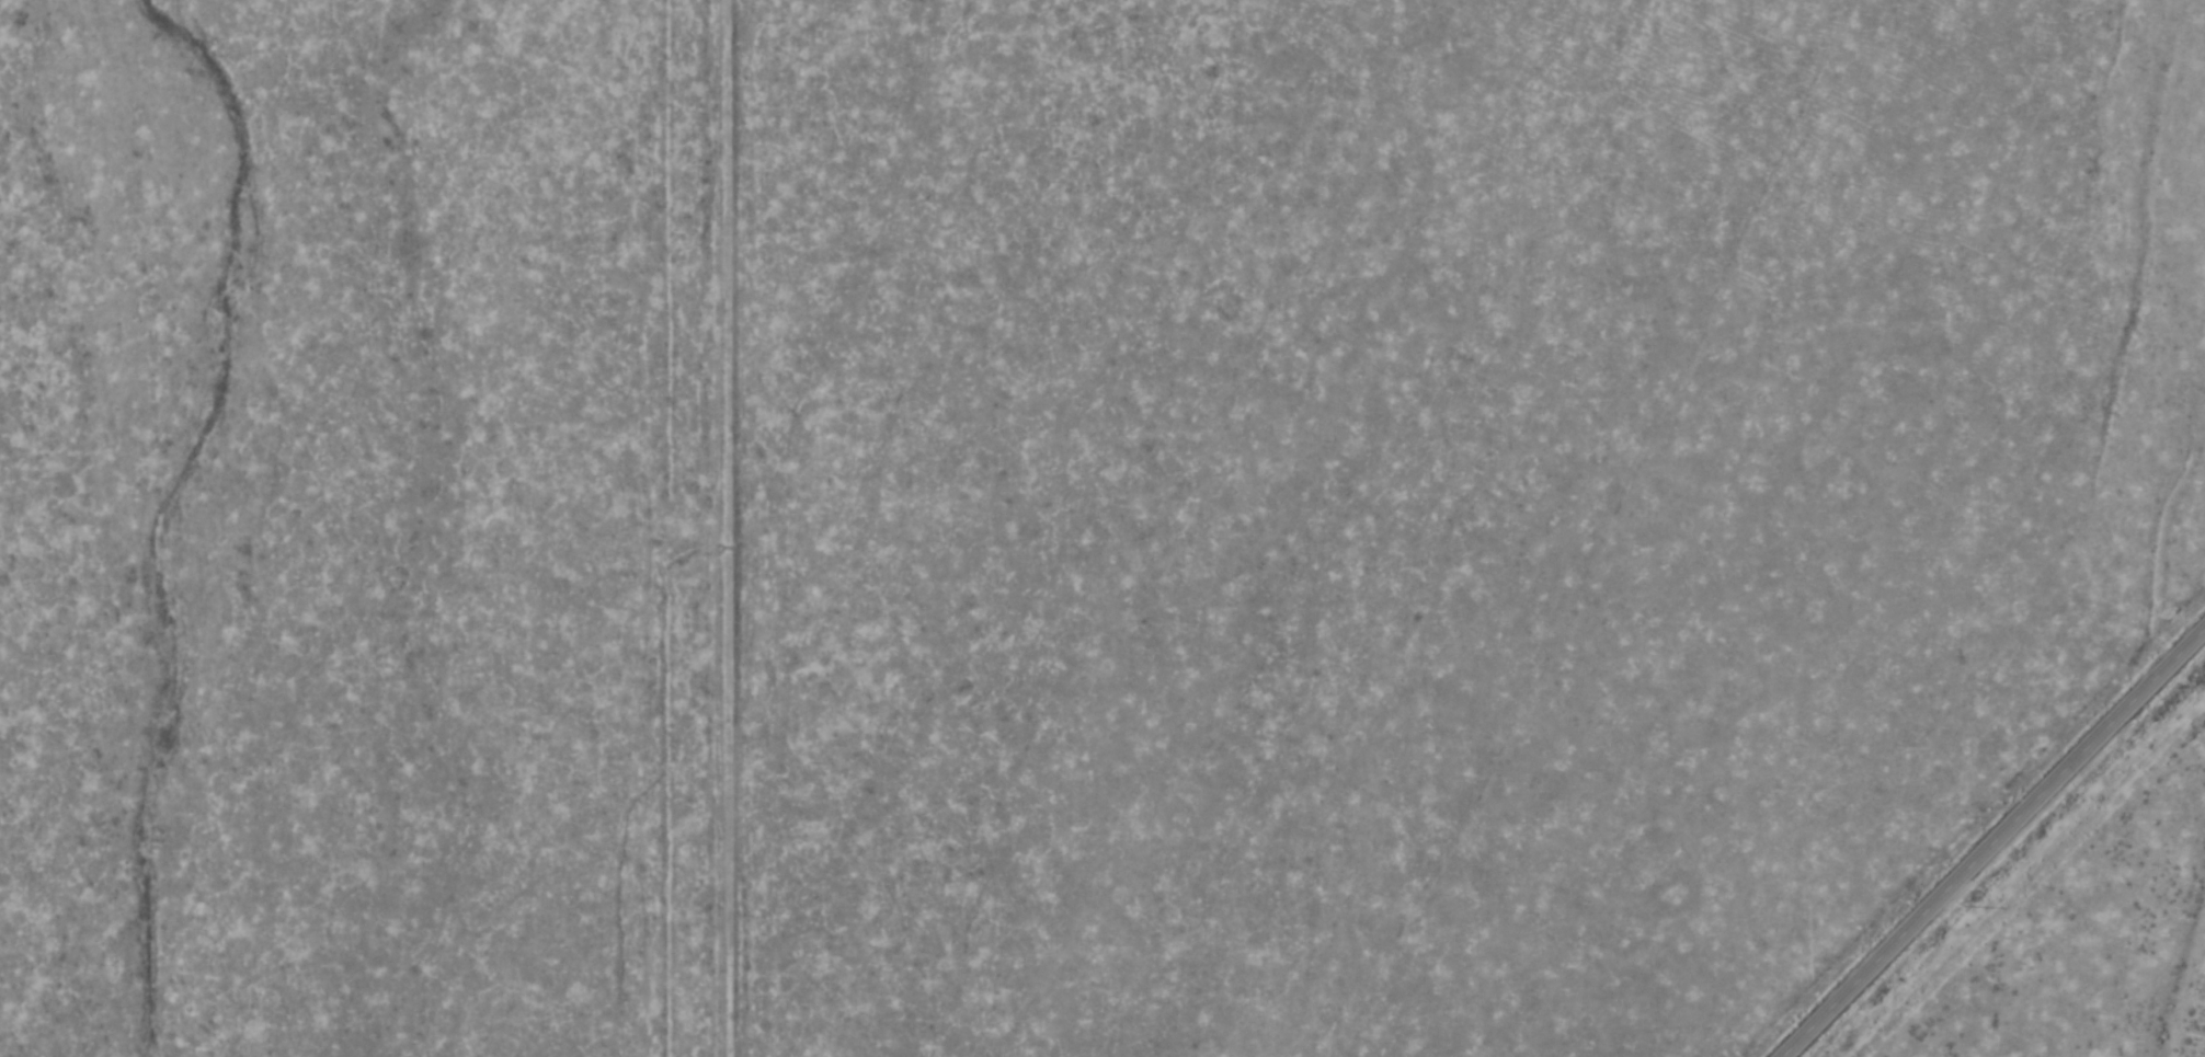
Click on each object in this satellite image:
road: (1995, 845)

